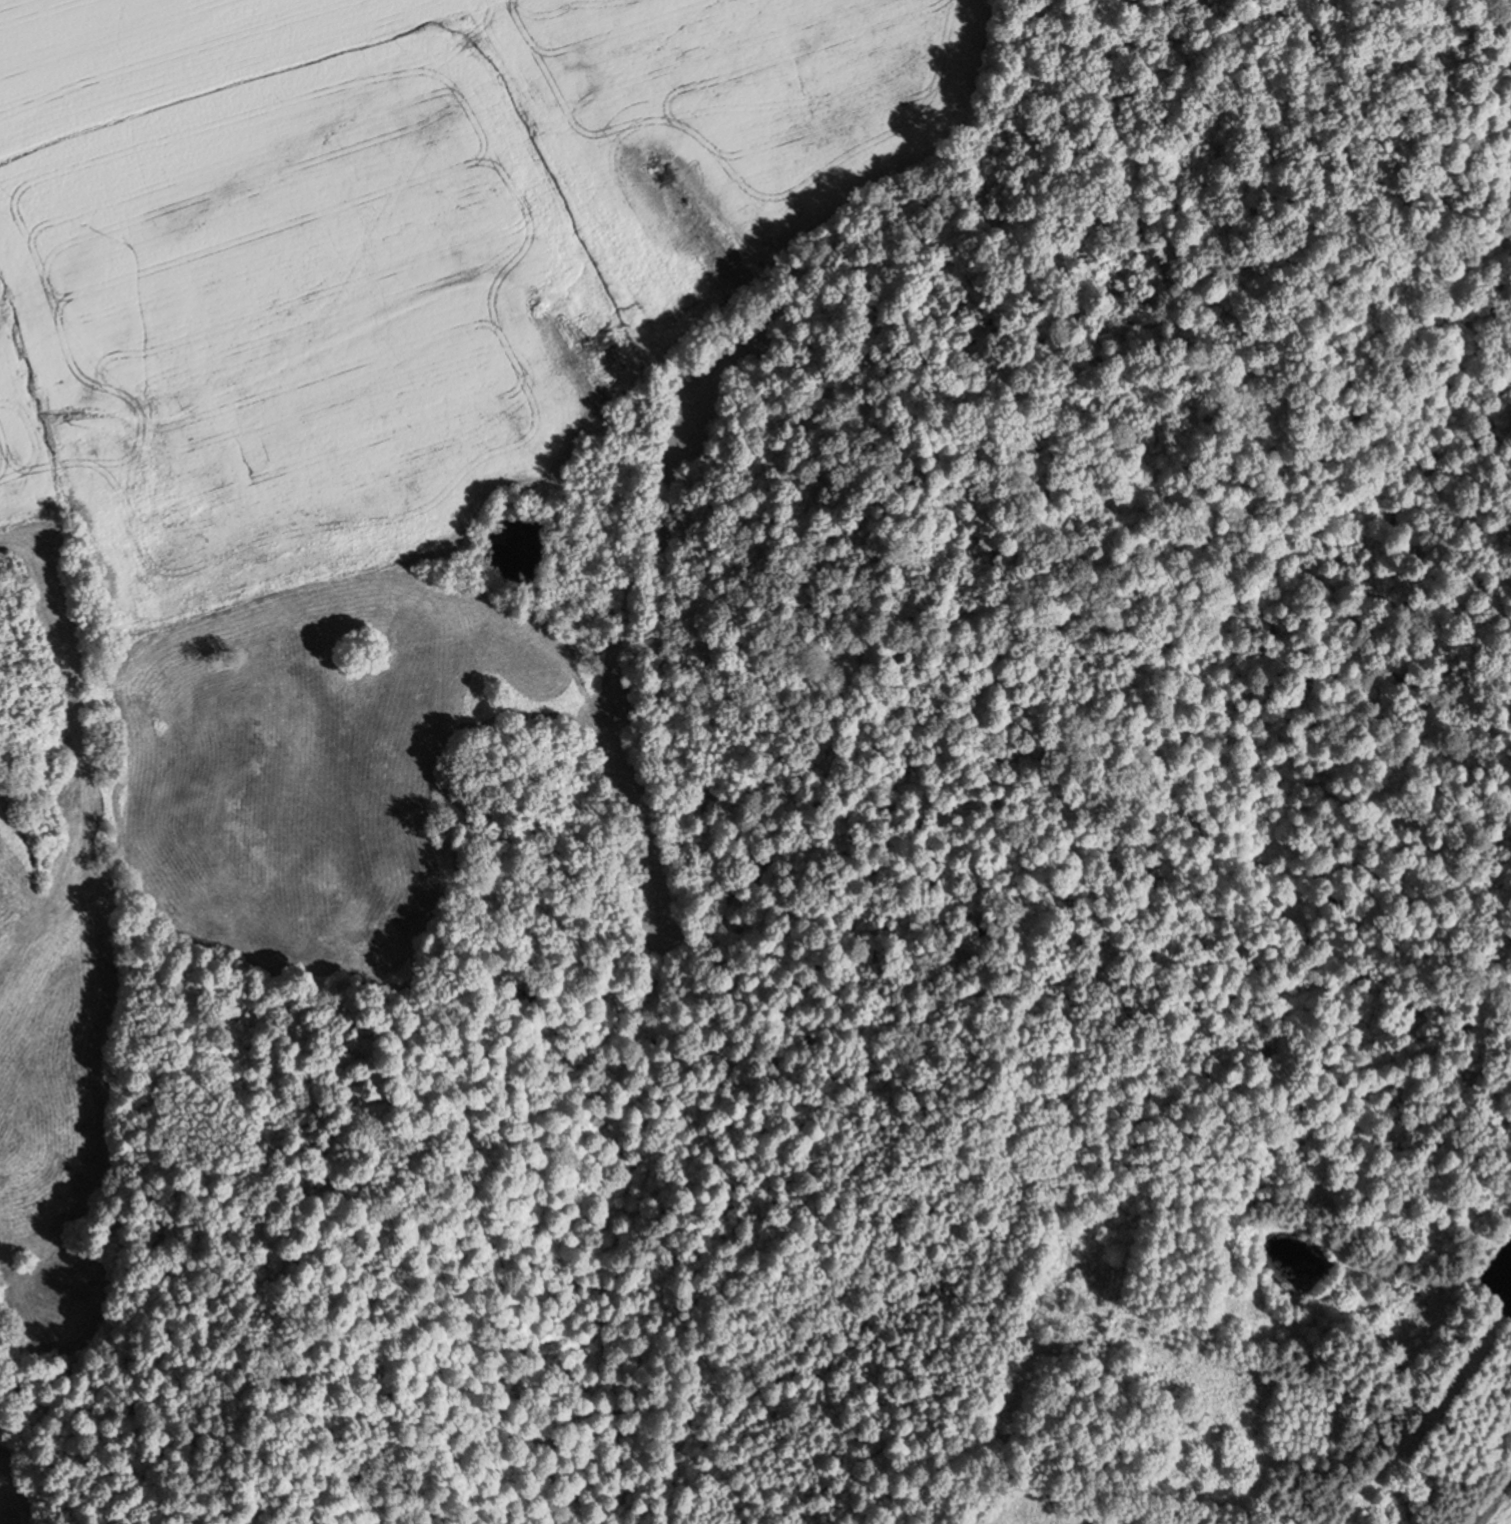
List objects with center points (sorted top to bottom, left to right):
road: (1495, 1504)

